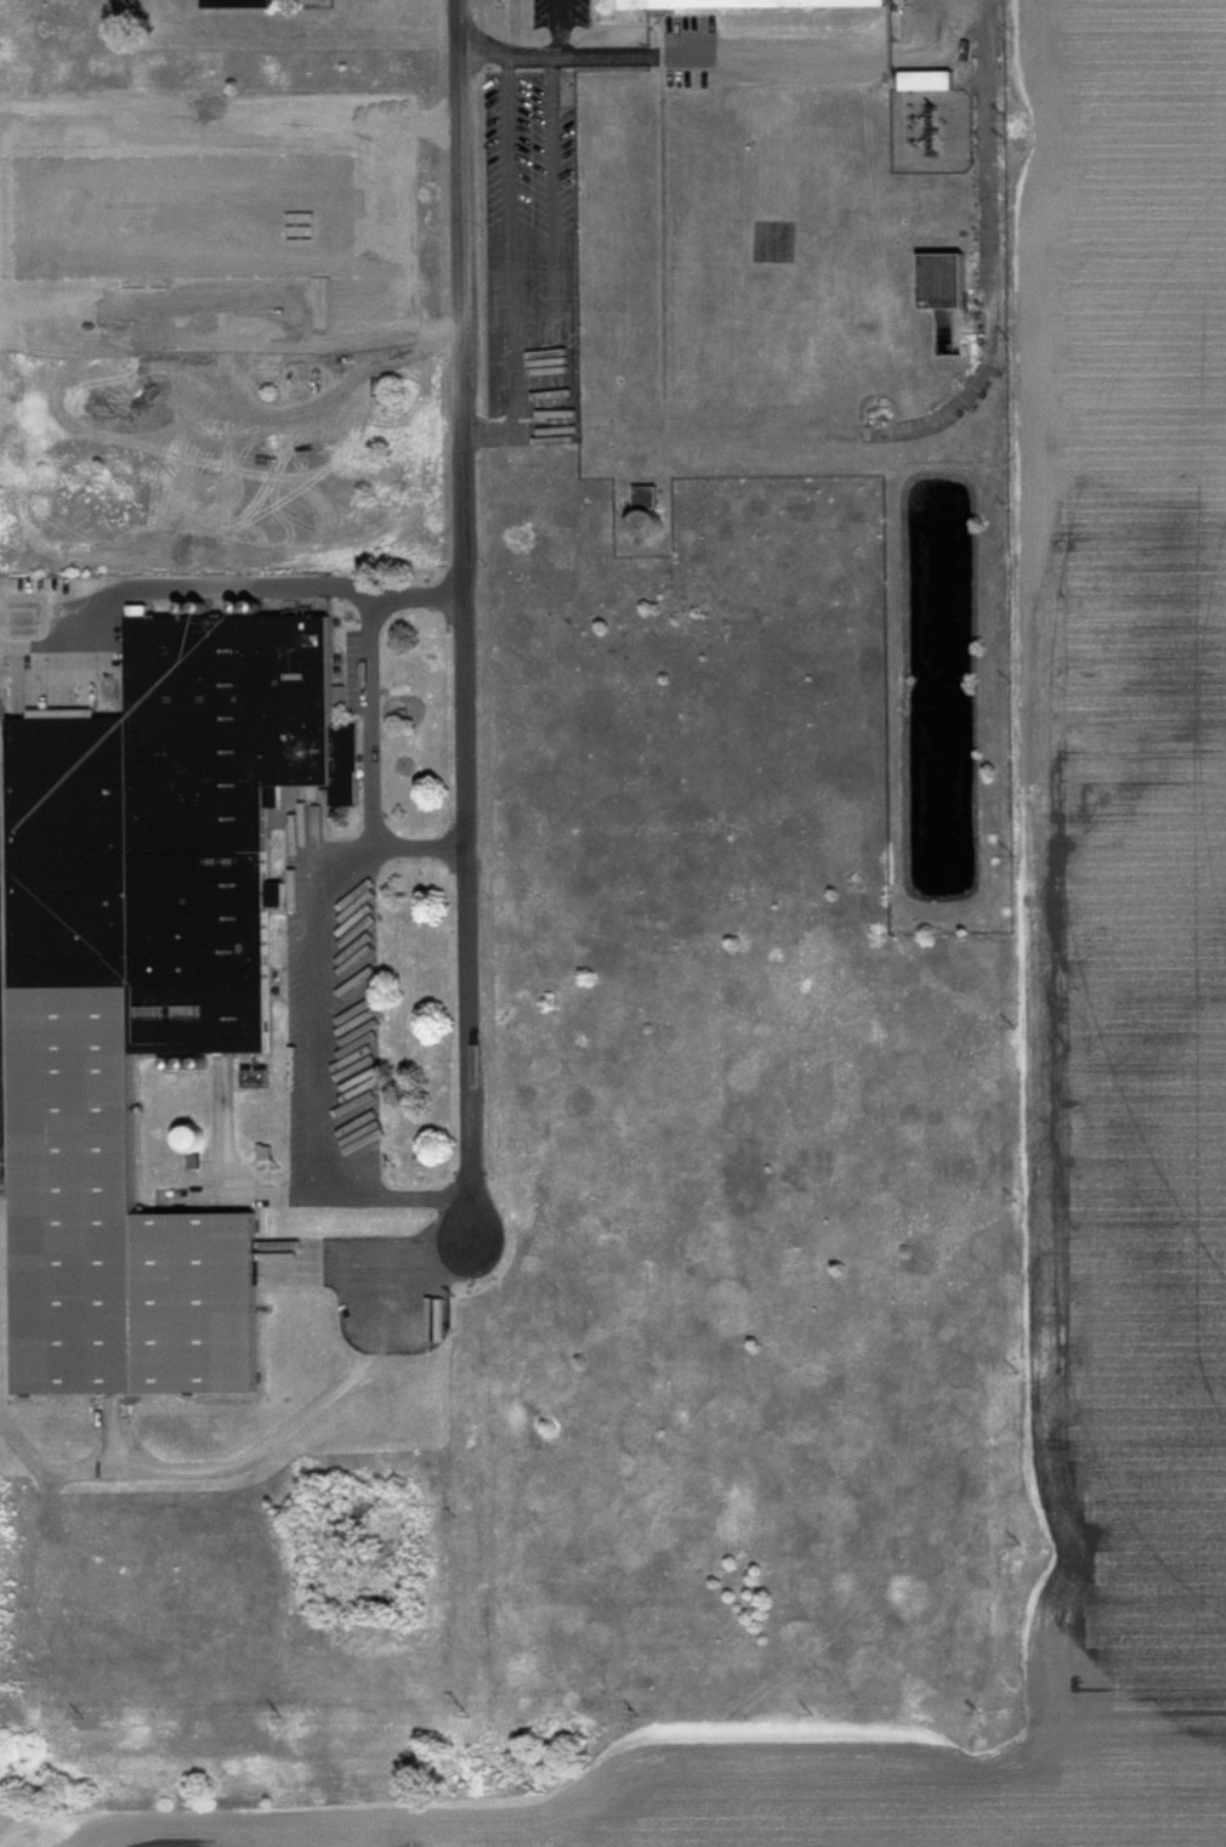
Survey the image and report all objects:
building: (754, 4)
road: (560, 27)
road: (732, 57)
building: (921, 83)
road: (987, 219)
road: (513, 271)
building: (935, 283)
building: (640, 514)
road: (214, 590)
road: (467, 597)
road: (419, 849)
crop: (1130, 859)
road: (350, 908)
building: (147, 992)
building: (180, 1143)
railway: (0, 1145)
crop: (778, 1796)

